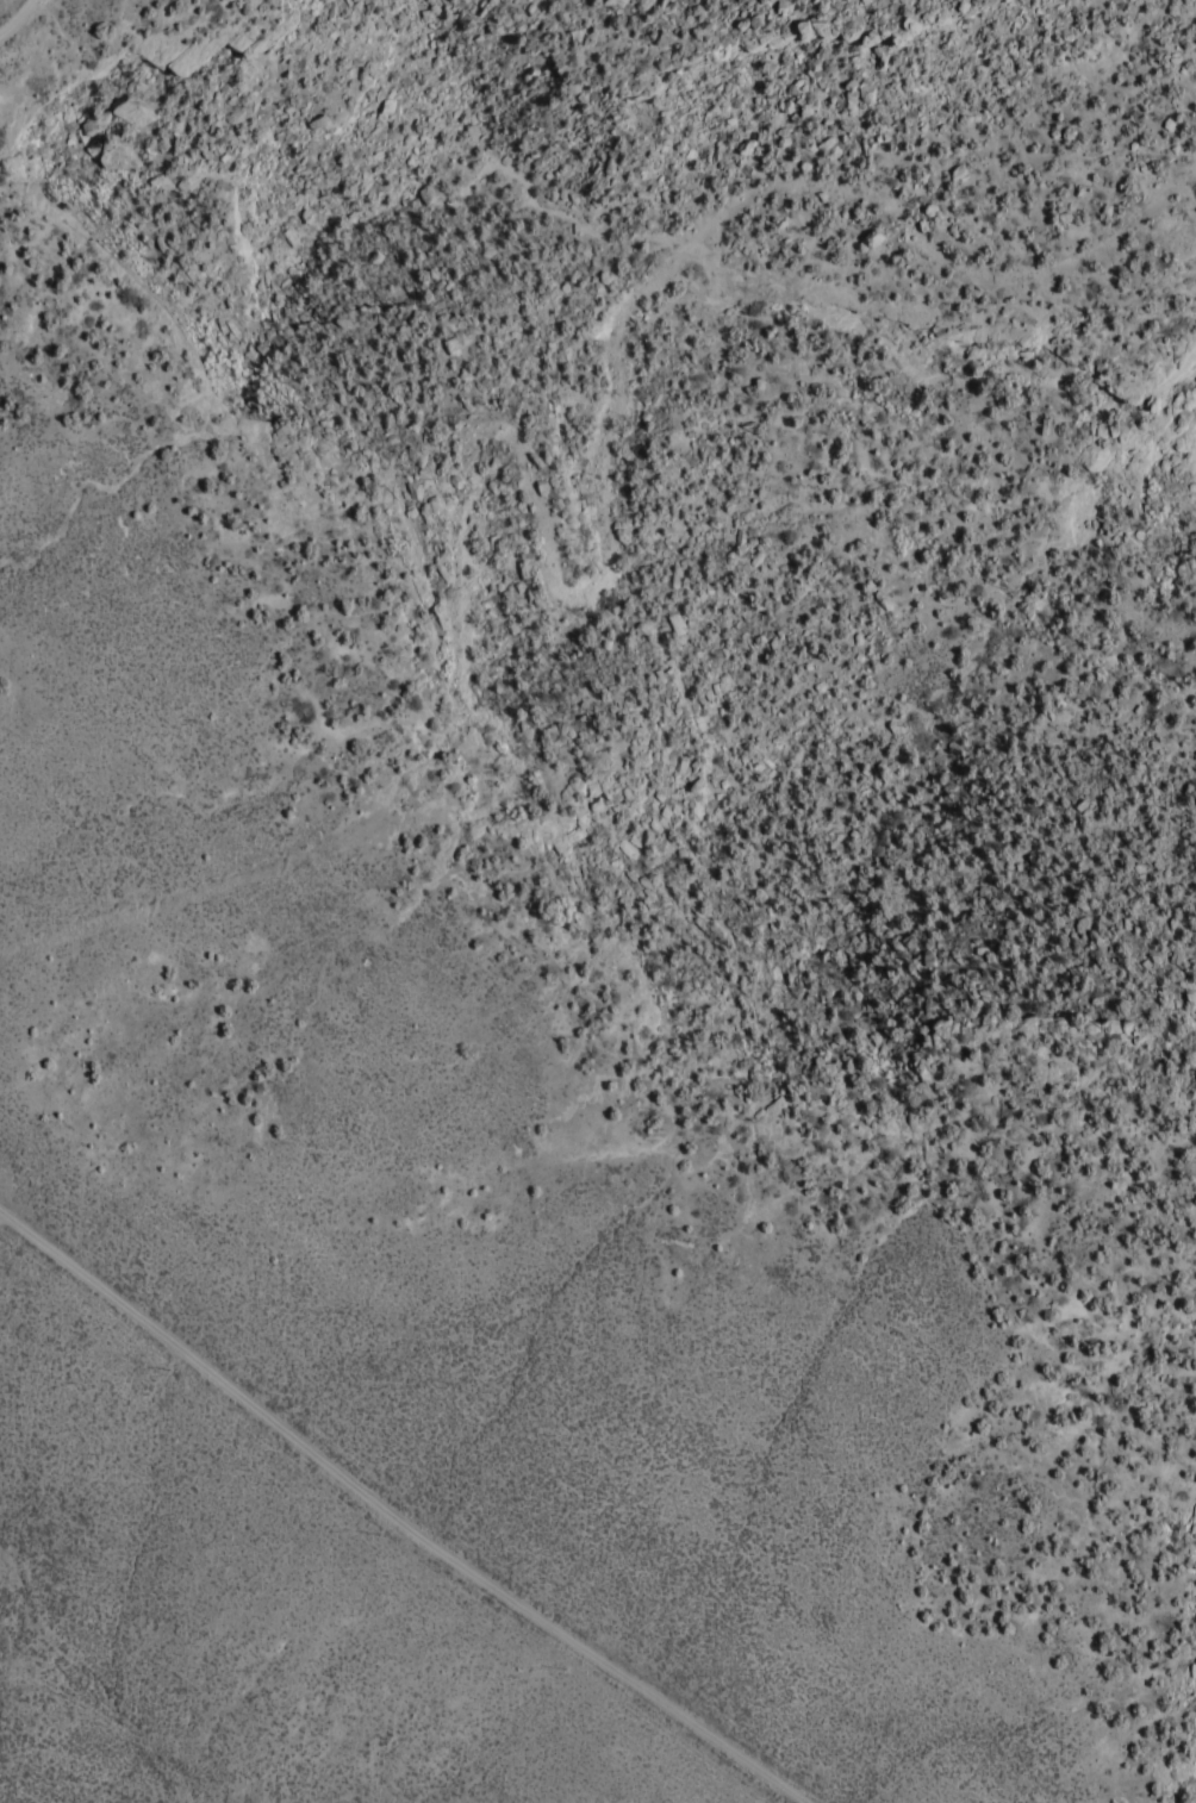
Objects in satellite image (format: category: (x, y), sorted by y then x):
road: (8, 6)
road: (423, 1480)

